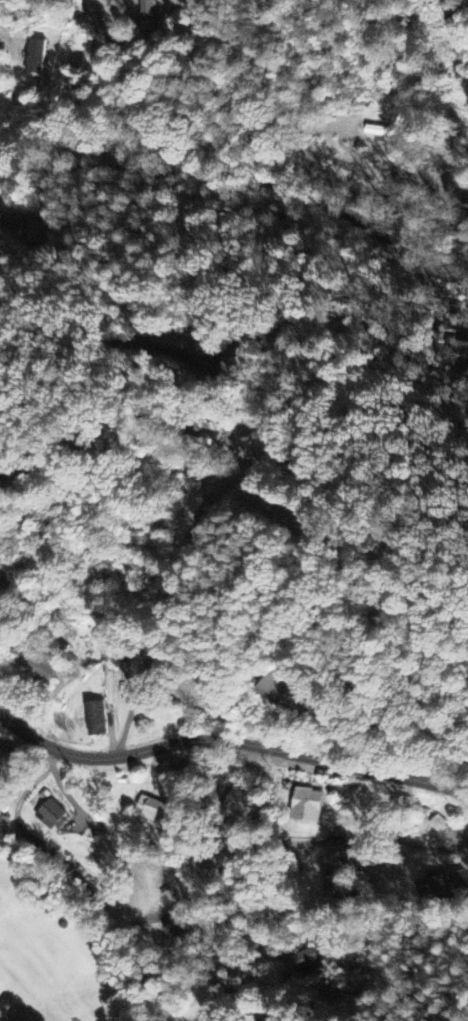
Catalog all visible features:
road: (15, 7)
building: (146, 15)
building: (33, 57)
road: (160, 93)
building: (378, 134)
road: (244, 178)
road: (463, 190)
building: (37, 230)
road: (465, 251)
road: (251, 314)
road: (220, 425)
building: (204, 436)
building: (27, 485)
road: (91, 543)
road: (284, 585)
road: (143, 662)
building: (38, 665)
building: (271, 686)
building: (187, 693)
building: (95, 720)
road: (349, 734)
road: (230, 742)
building: (239, 805)
building: (305, 807)
building: (151, 810)
building: (51, 816)
road: (225, 847)
road: (83, 880)
building: (175, 934)
building: (299, 961)
road: (220, 991)

